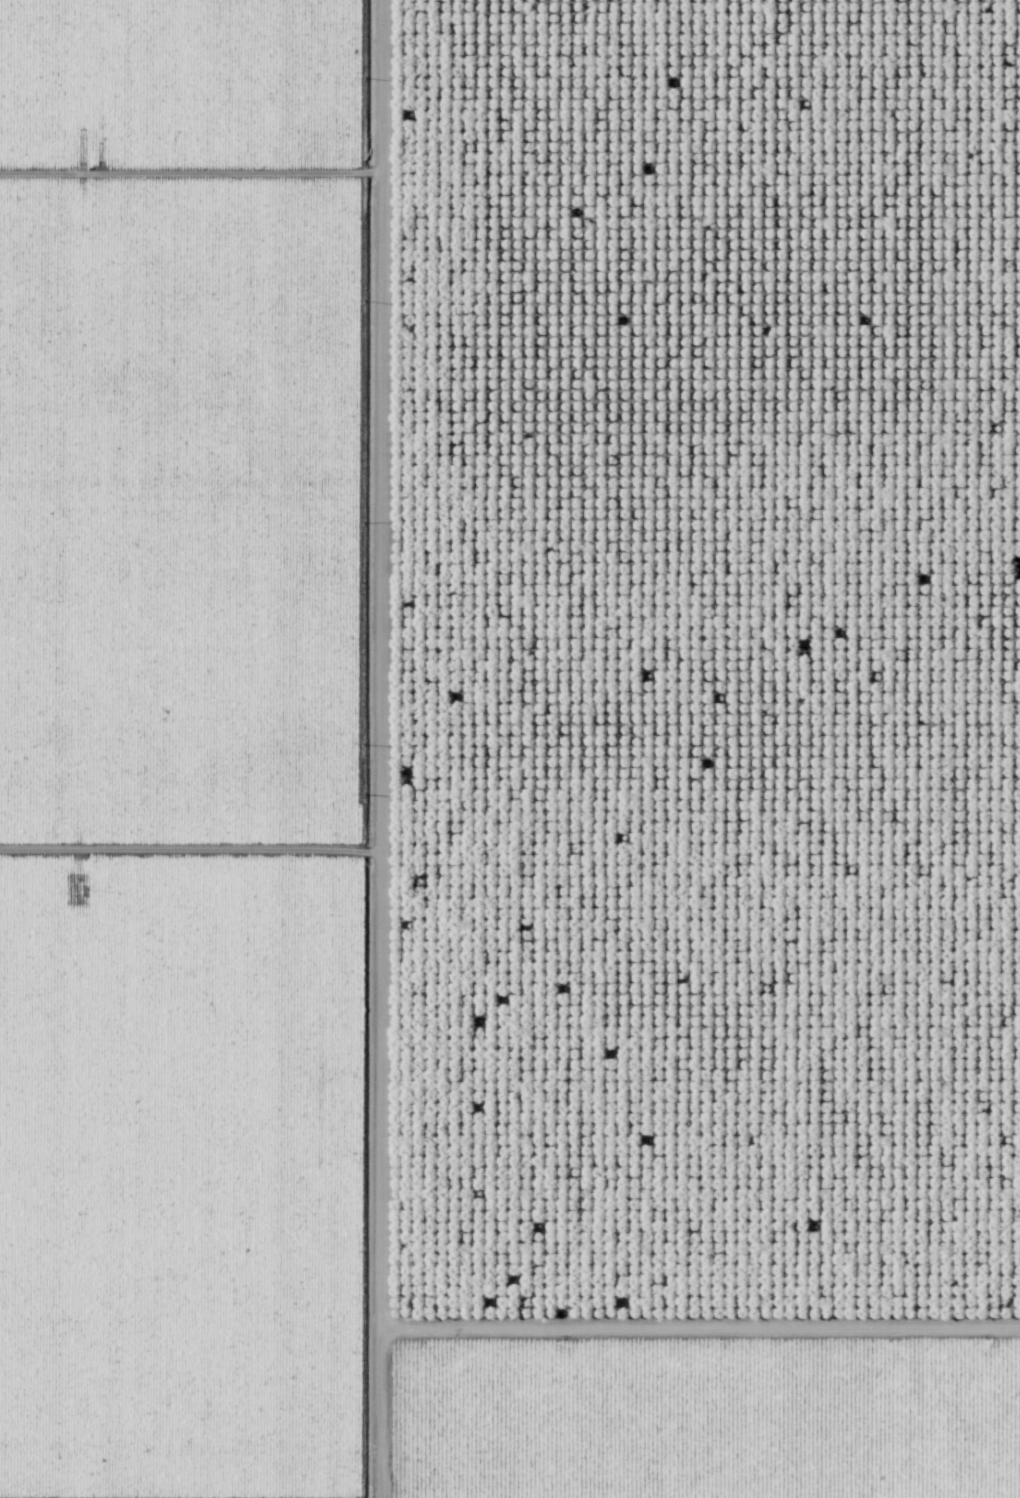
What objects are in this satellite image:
crop: (187, 749)
road: (344, 749)

